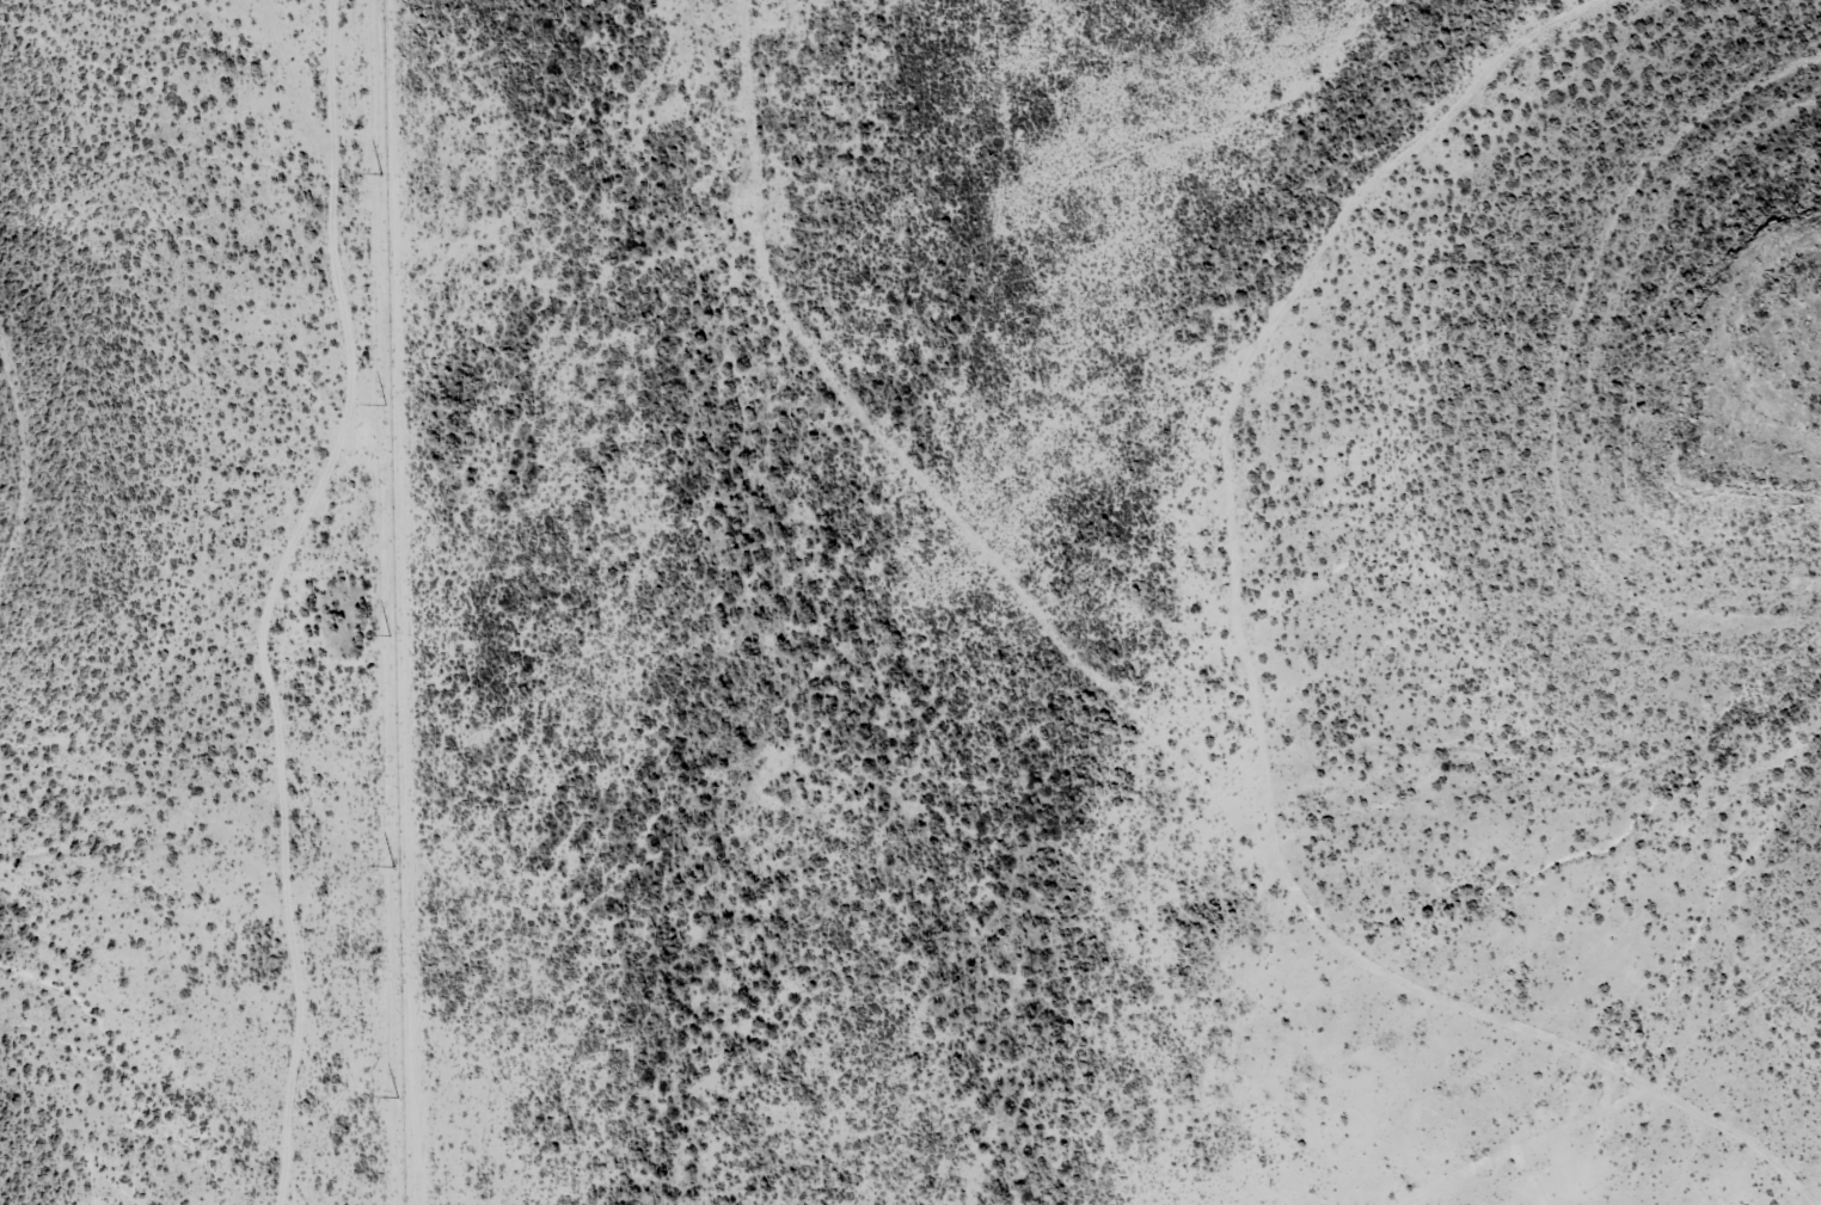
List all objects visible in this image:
power tower: (380, 173)
power tower: (382, 401)
power tower: (392, 633)
power tower: (394, 862)
power tower: (400, 1095)

